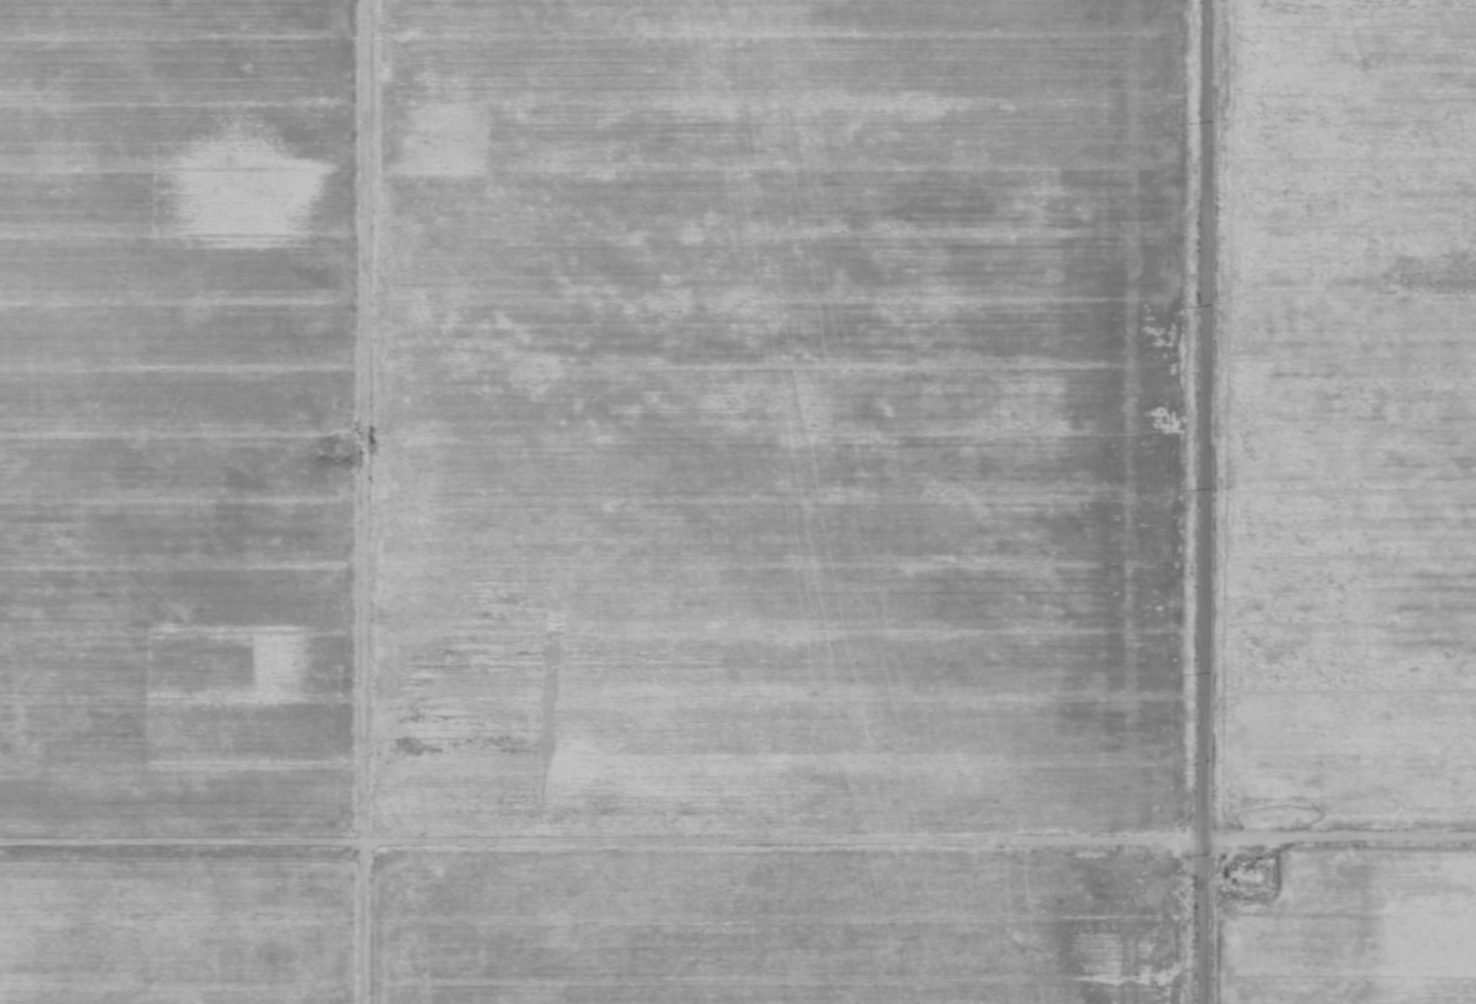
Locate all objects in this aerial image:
crop: (1022, 389)
crop: (1342, 418)
crop: (177, 419)
crop: (571, 449)
road: (361, 501)
road: (1201, 501)
railway: (818, 502)
railway: (828, 502)
road: (1207, 844)
road: (423, 846)
crop: (1080, 919)
crop: (177, 927)
crop: (615, 928)
crop: (1354, 932)

